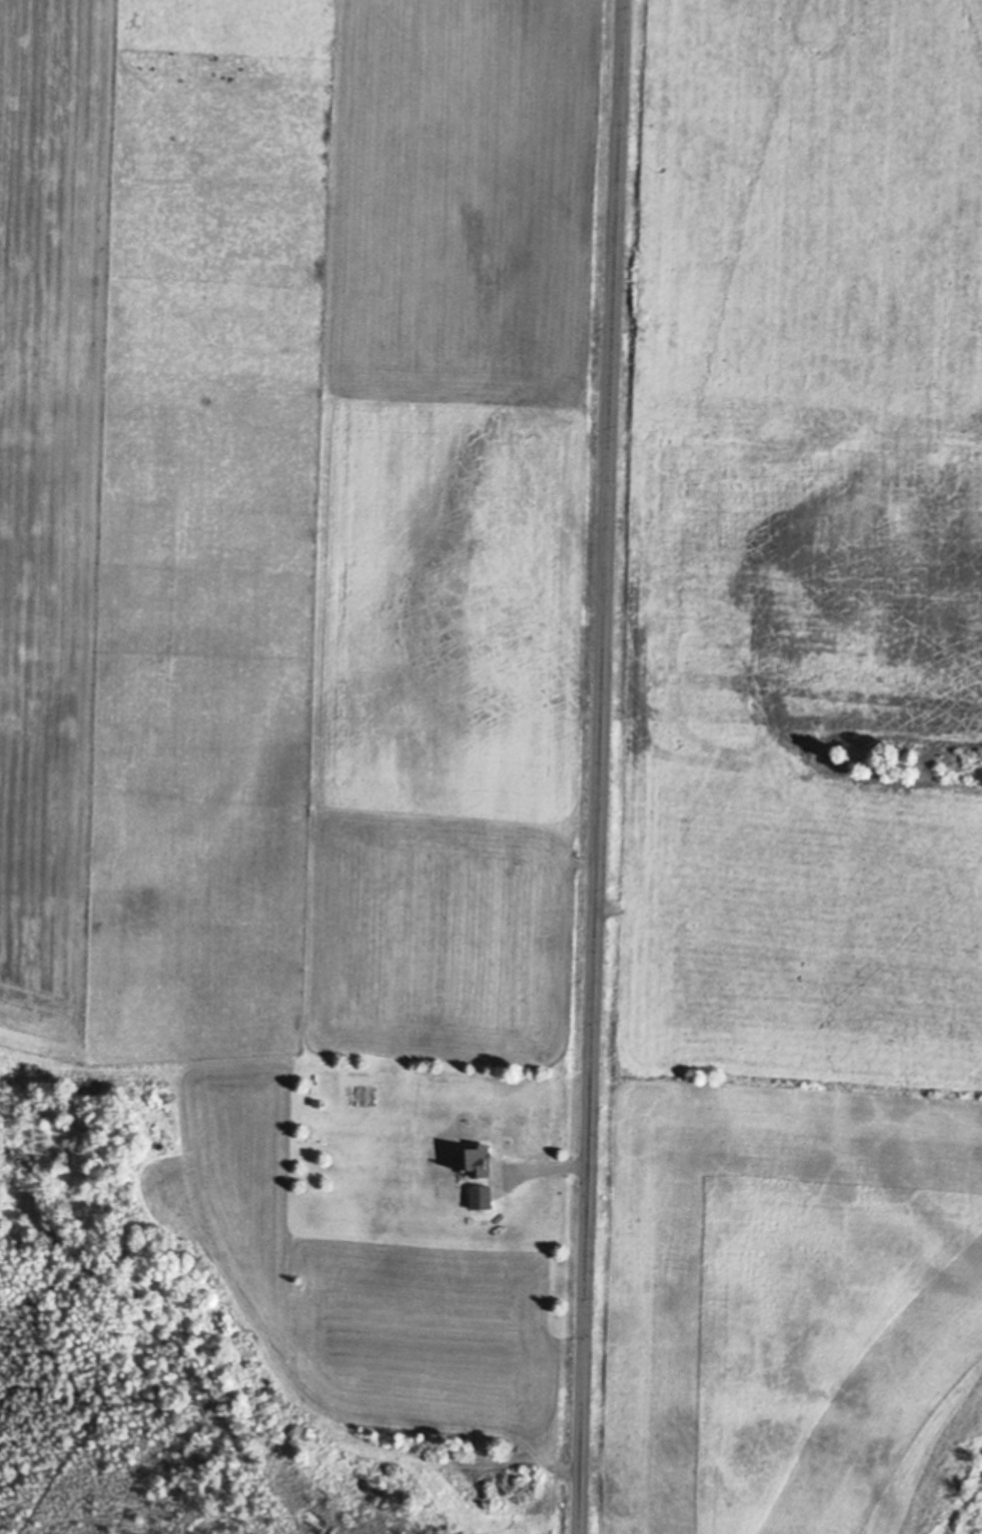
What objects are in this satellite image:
road: (600, 766)
crop: (799, 783)
building: (475, 1162)
building: (480, 1198)

